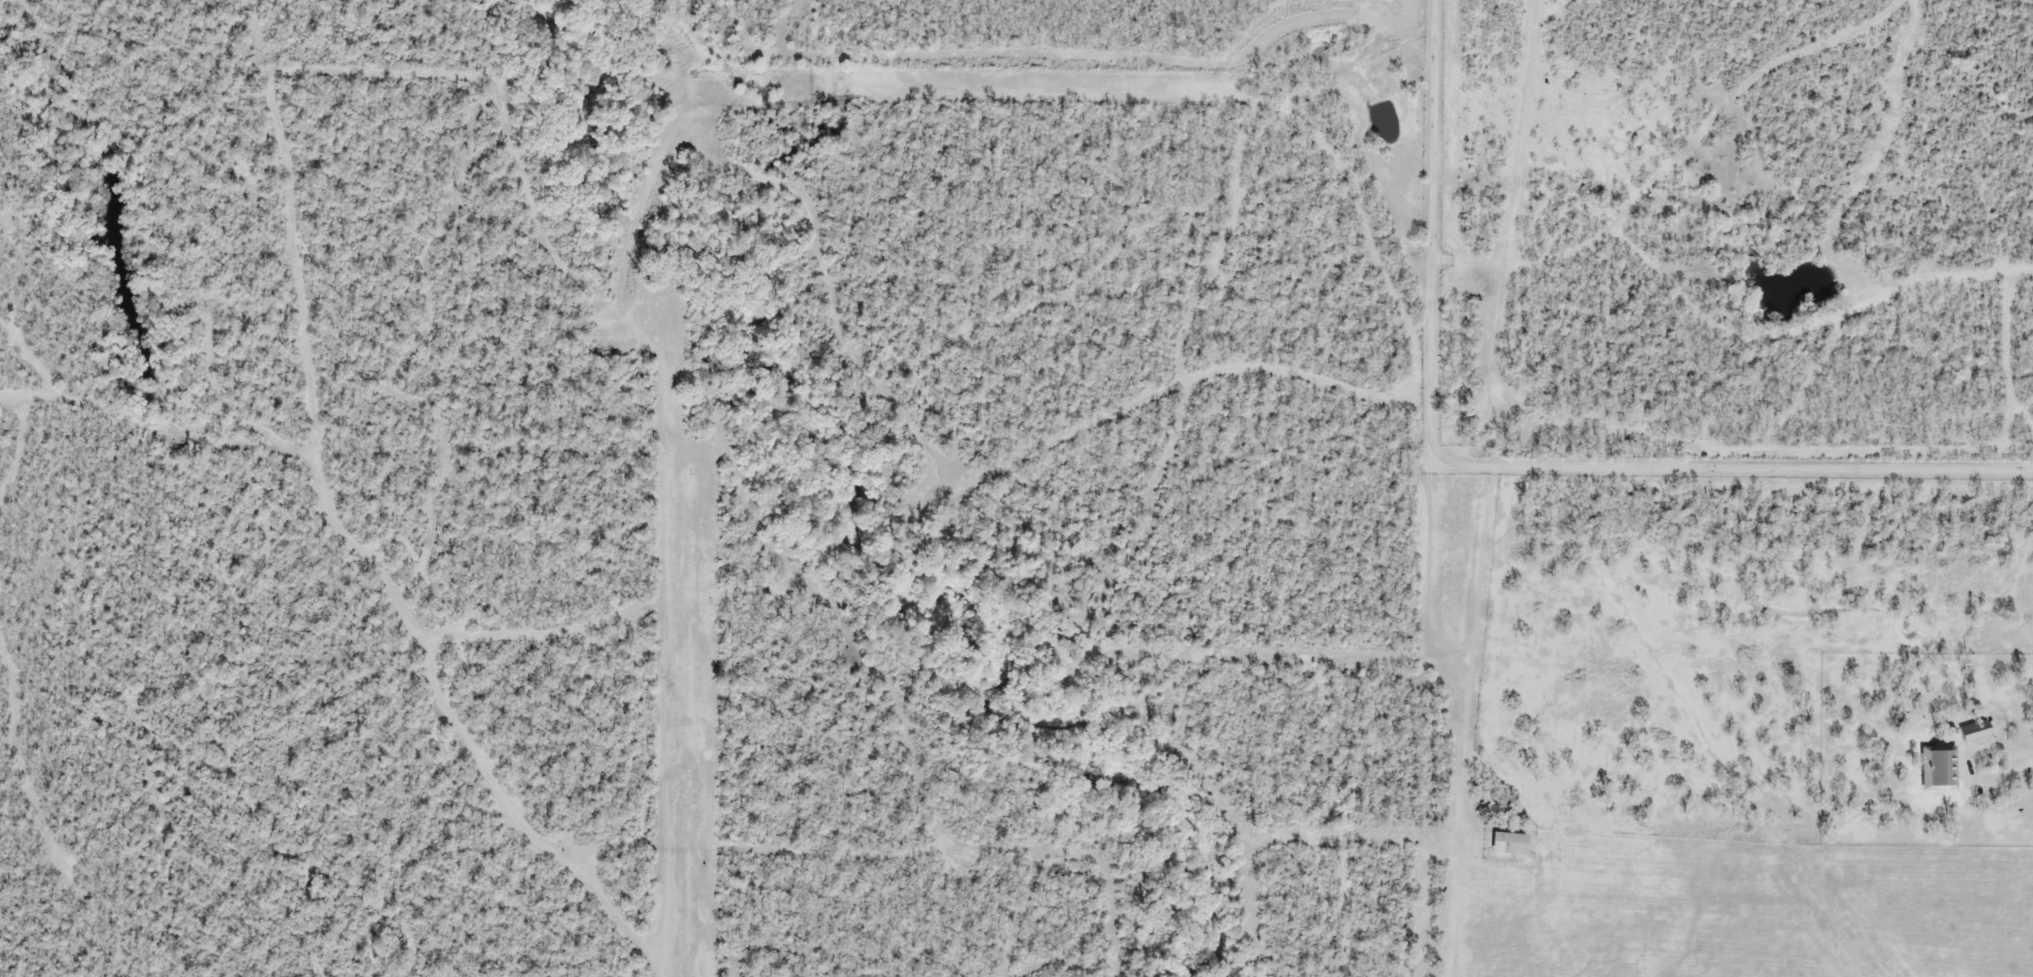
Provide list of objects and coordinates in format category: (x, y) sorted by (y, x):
road: (1501, 468)
building: (1974, 733)
road: (2027, 758)
building: (1938, 770)
building: (1508, 845)

